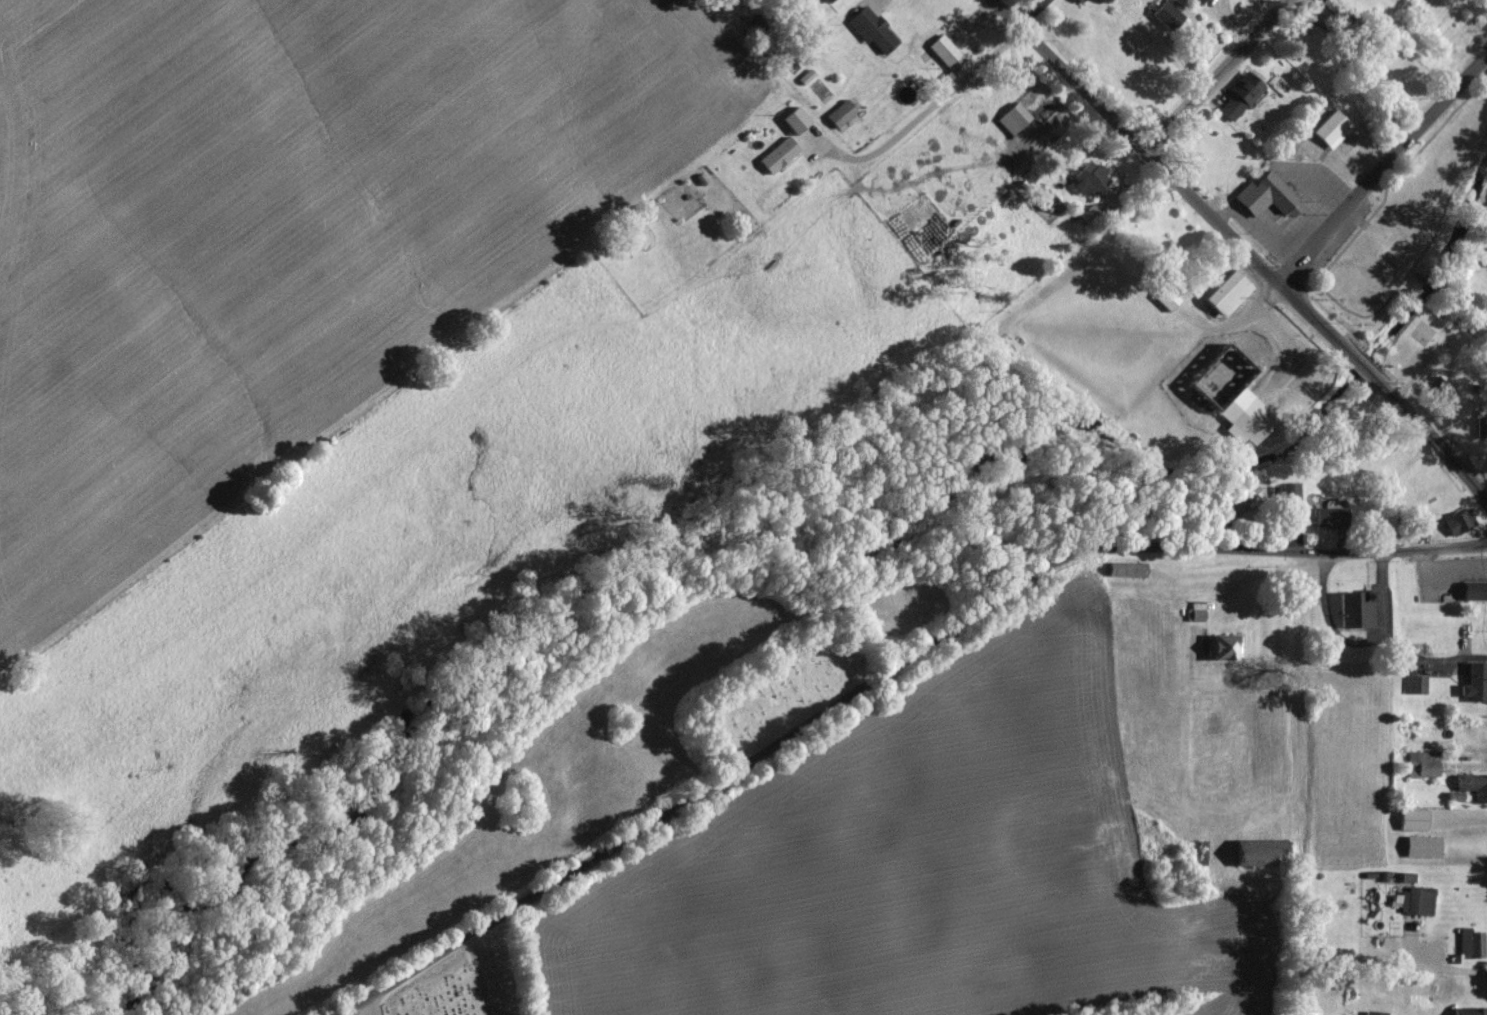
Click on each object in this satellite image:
building: (825, 1)
building: (1076, 1)
building: (1082, 1)
building: (1200, 2)
building: (1444, 10)
building: (1171, 15)
building: (756, 28)
building: (867, 29)
building: (945, 51)
road: (1206, 78)
building: (1236, 90)
building: (842, 114)
building: (1009, 119)
building: (1327, 129)
building: (780, 156)
road: (1382, 165)
building: (1086, 180)
building: (1266, 196)
park: (1412, 245)
building: (1482, 249)
road: (1243, 250)
park: (1318, 271)
building: (1223, 293)
road: (1323, 294)
park: (1416, 331)
building: (1218, 377)
building: (1428, 385)
building: (1245, 421)
building: (1482, 427)
building: (1484, 461)
building: (1285, 491)
building: (1234, 504)
building: (1326, 515)
building: (1454, 520)
building: (1121, 570)
building: (1471, 590)
building: (1351, 611)
building: (1191, 612)
building: (1219, 646)
road: (878, 672)
building: (1471, 682)
building: (1415, 686)
park: (767, 687)
building: (1423, 765)
building: (1471, 785)
building: (1408, 820)
building: (1416, 845)
building: (1263, 853)
building: (1415, 901)
building: (1464, 944)
park: (453, 989)
building: (1465, 1011)

